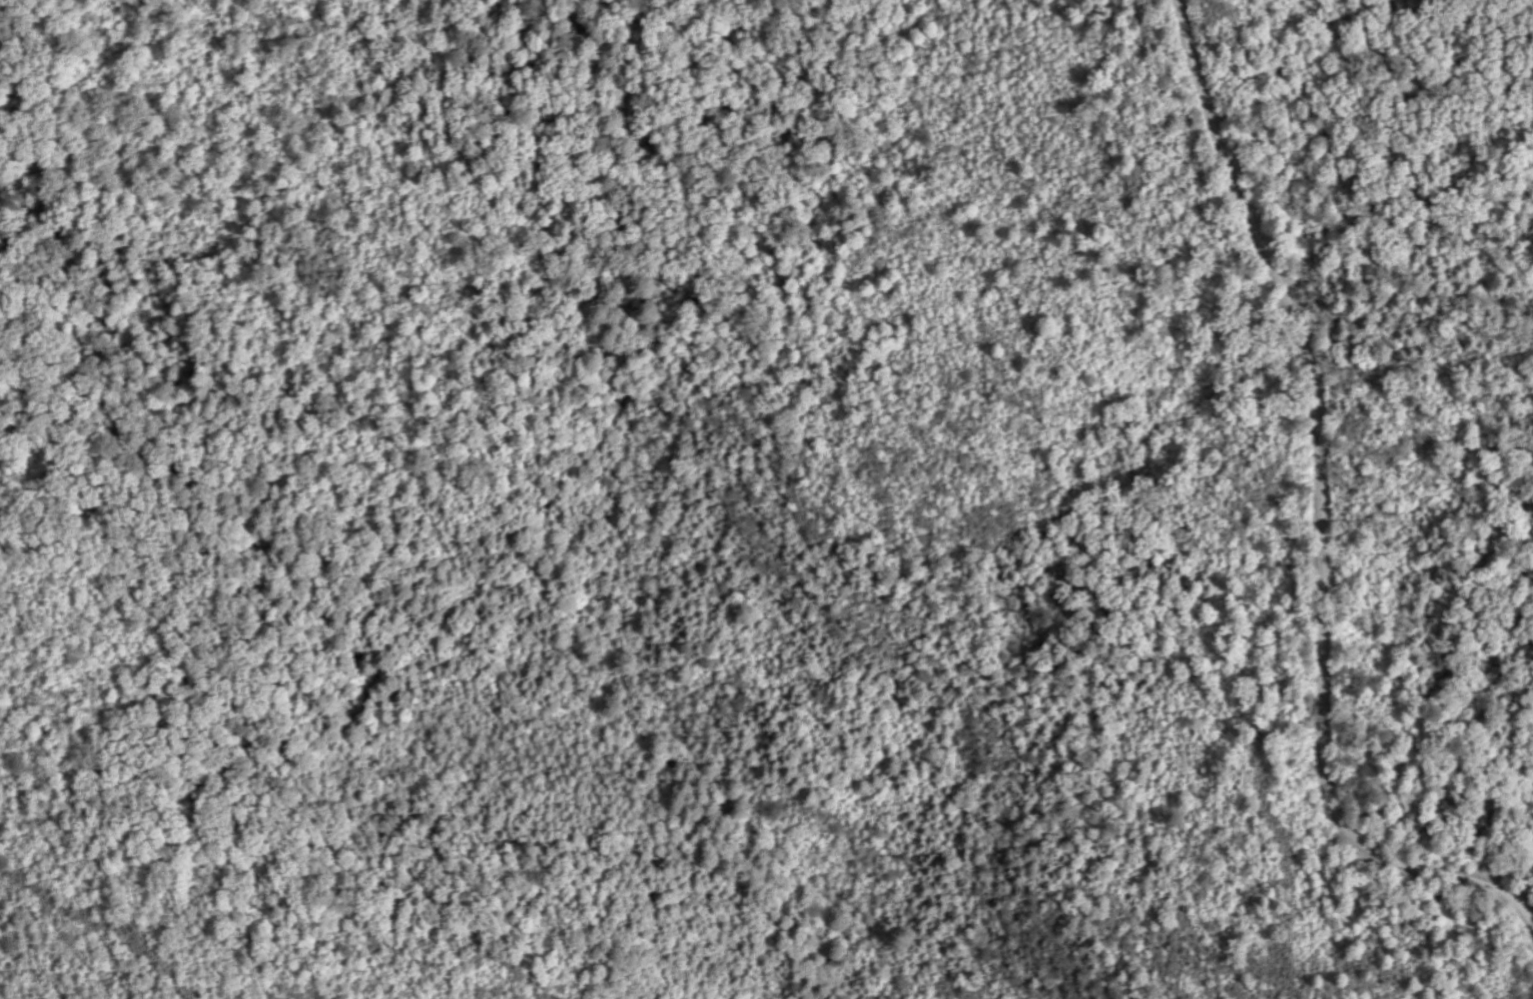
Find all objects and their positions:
road: (1320, 512)
road: (44, 956)
road: (1529, 991)

